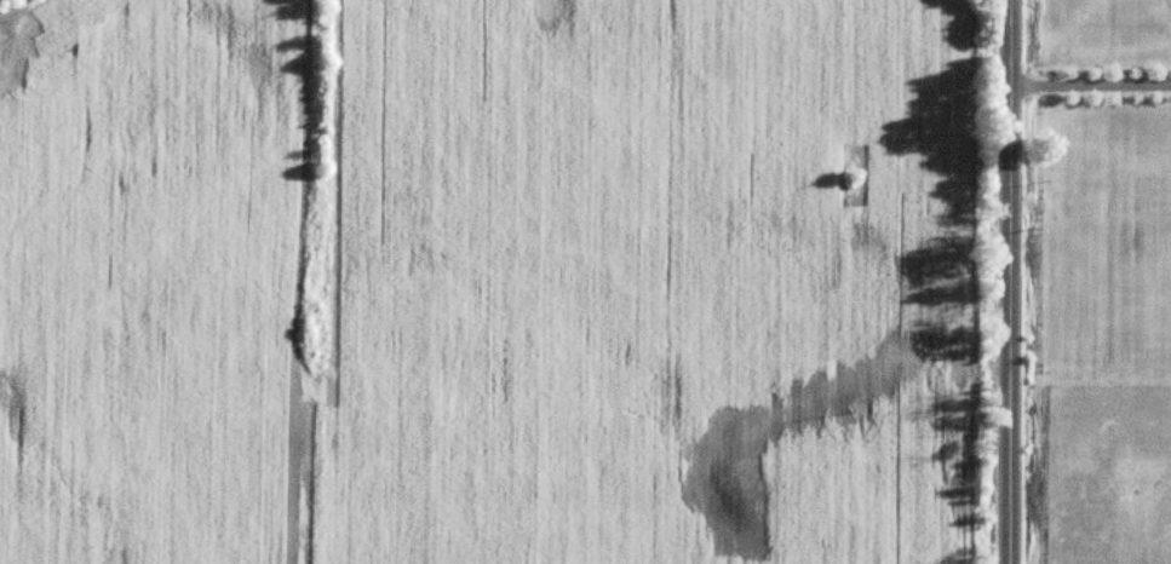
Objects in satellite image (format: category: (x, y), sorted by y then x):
road: (1090, 84)
crop: (489, 281)
road: (1010, 282)

